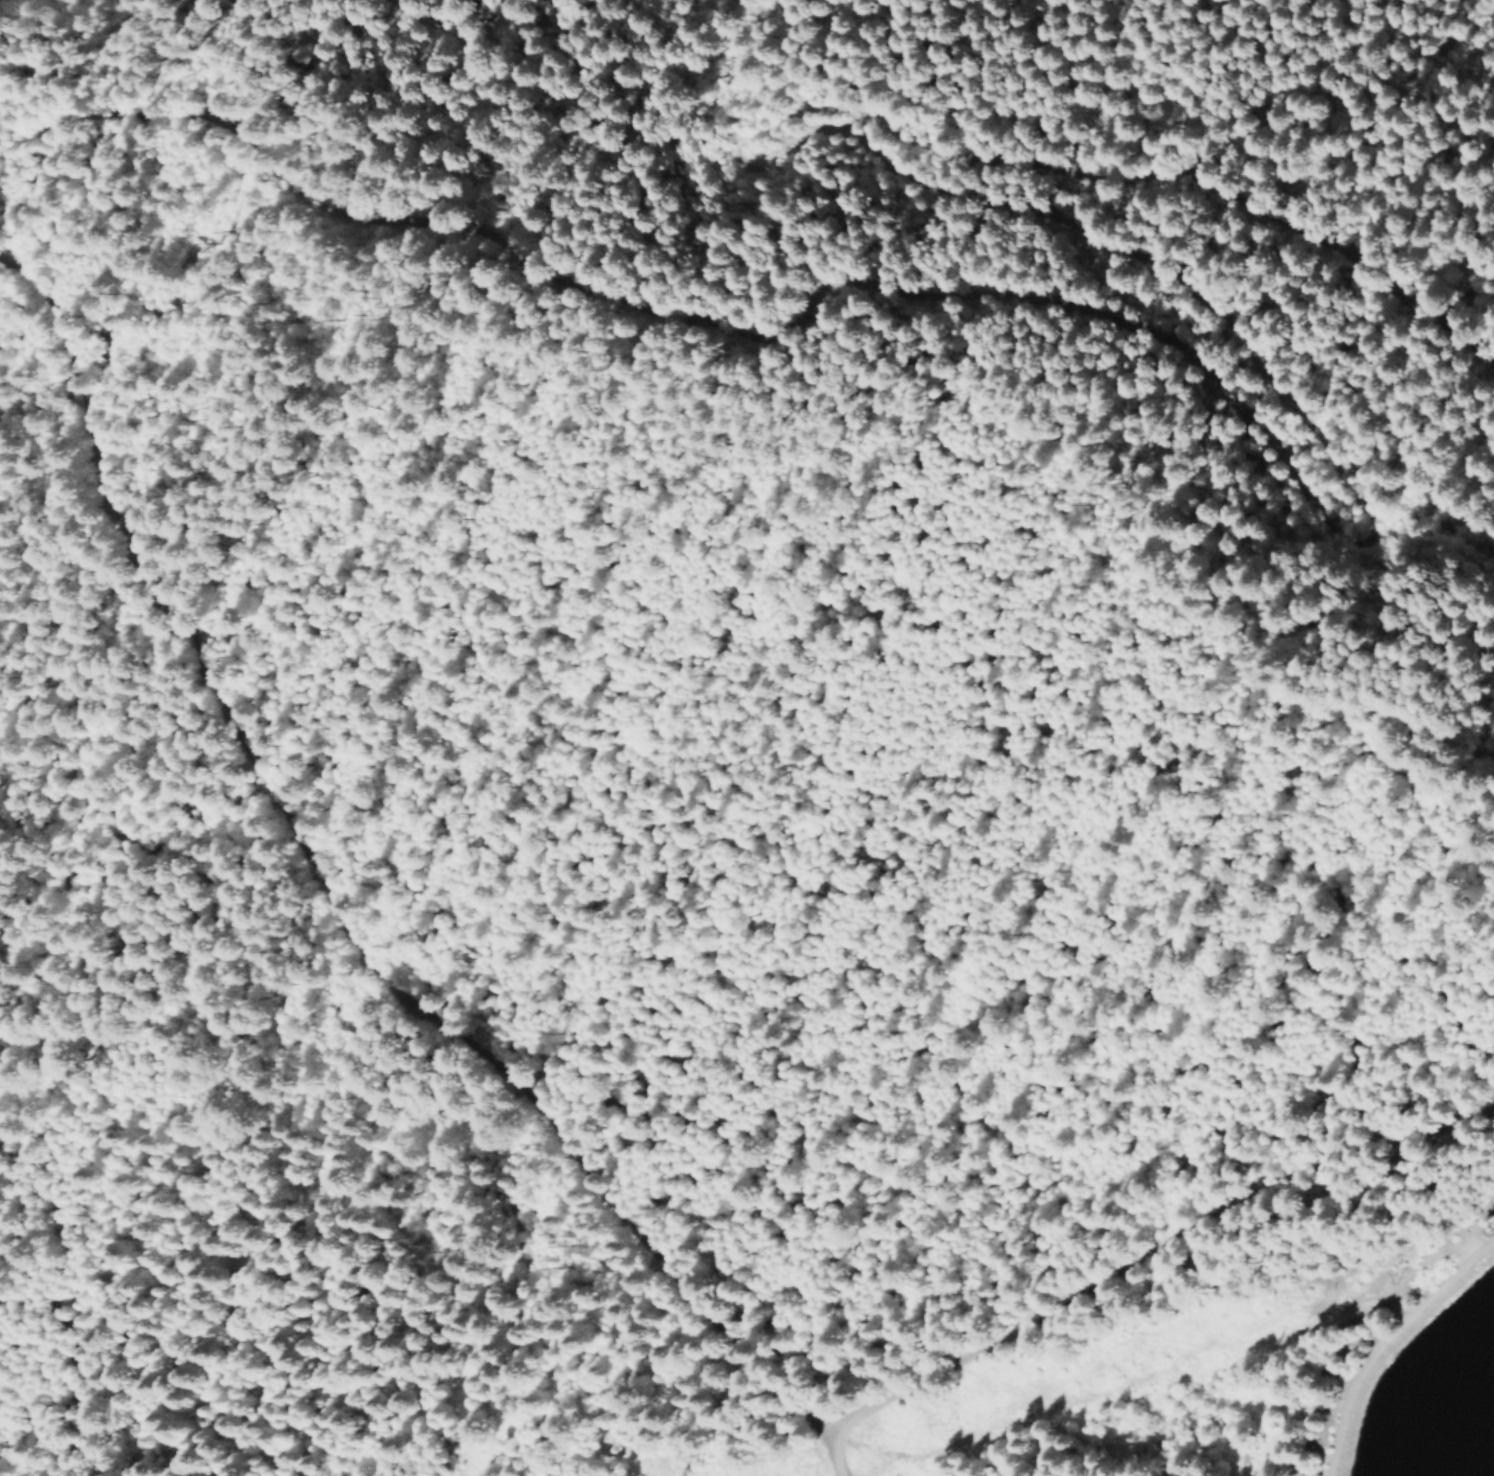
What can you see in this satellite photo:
road: (86, 419)
road: (1331, 464)
road: (444, 1027)
road: (1150, 1251)
road: (1383, 1340)
road: (823, 1445)

